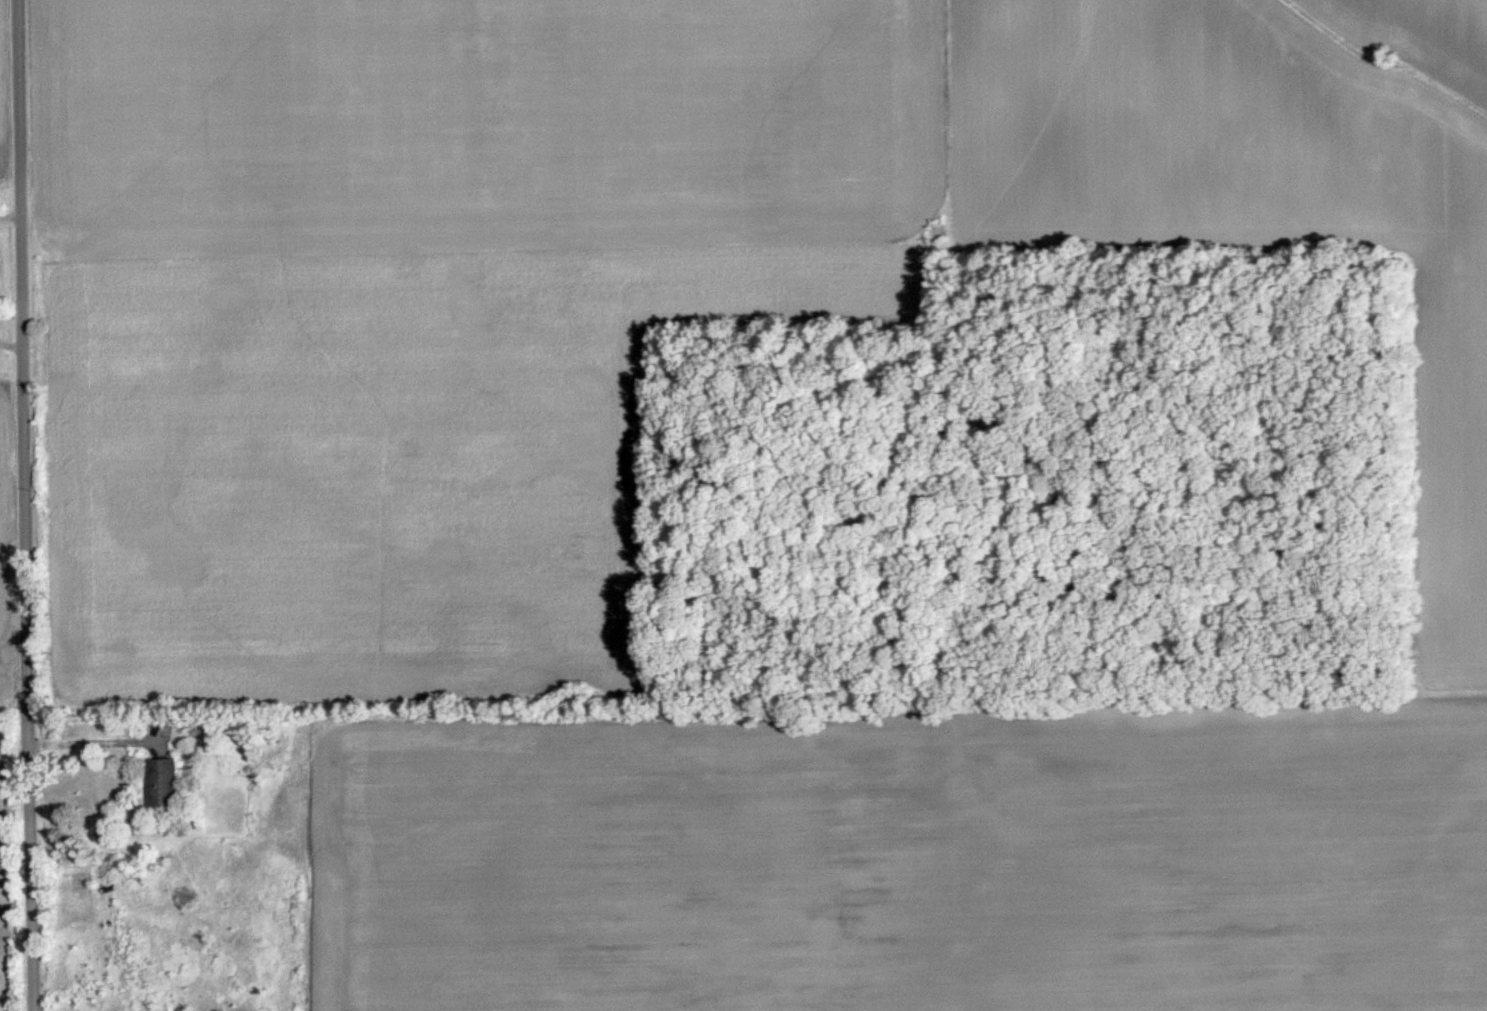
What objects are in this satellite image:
road: (11, 208)
road: (12, 340)
road: (27, 505)
road: (88, 737)
building: (166, 783)

